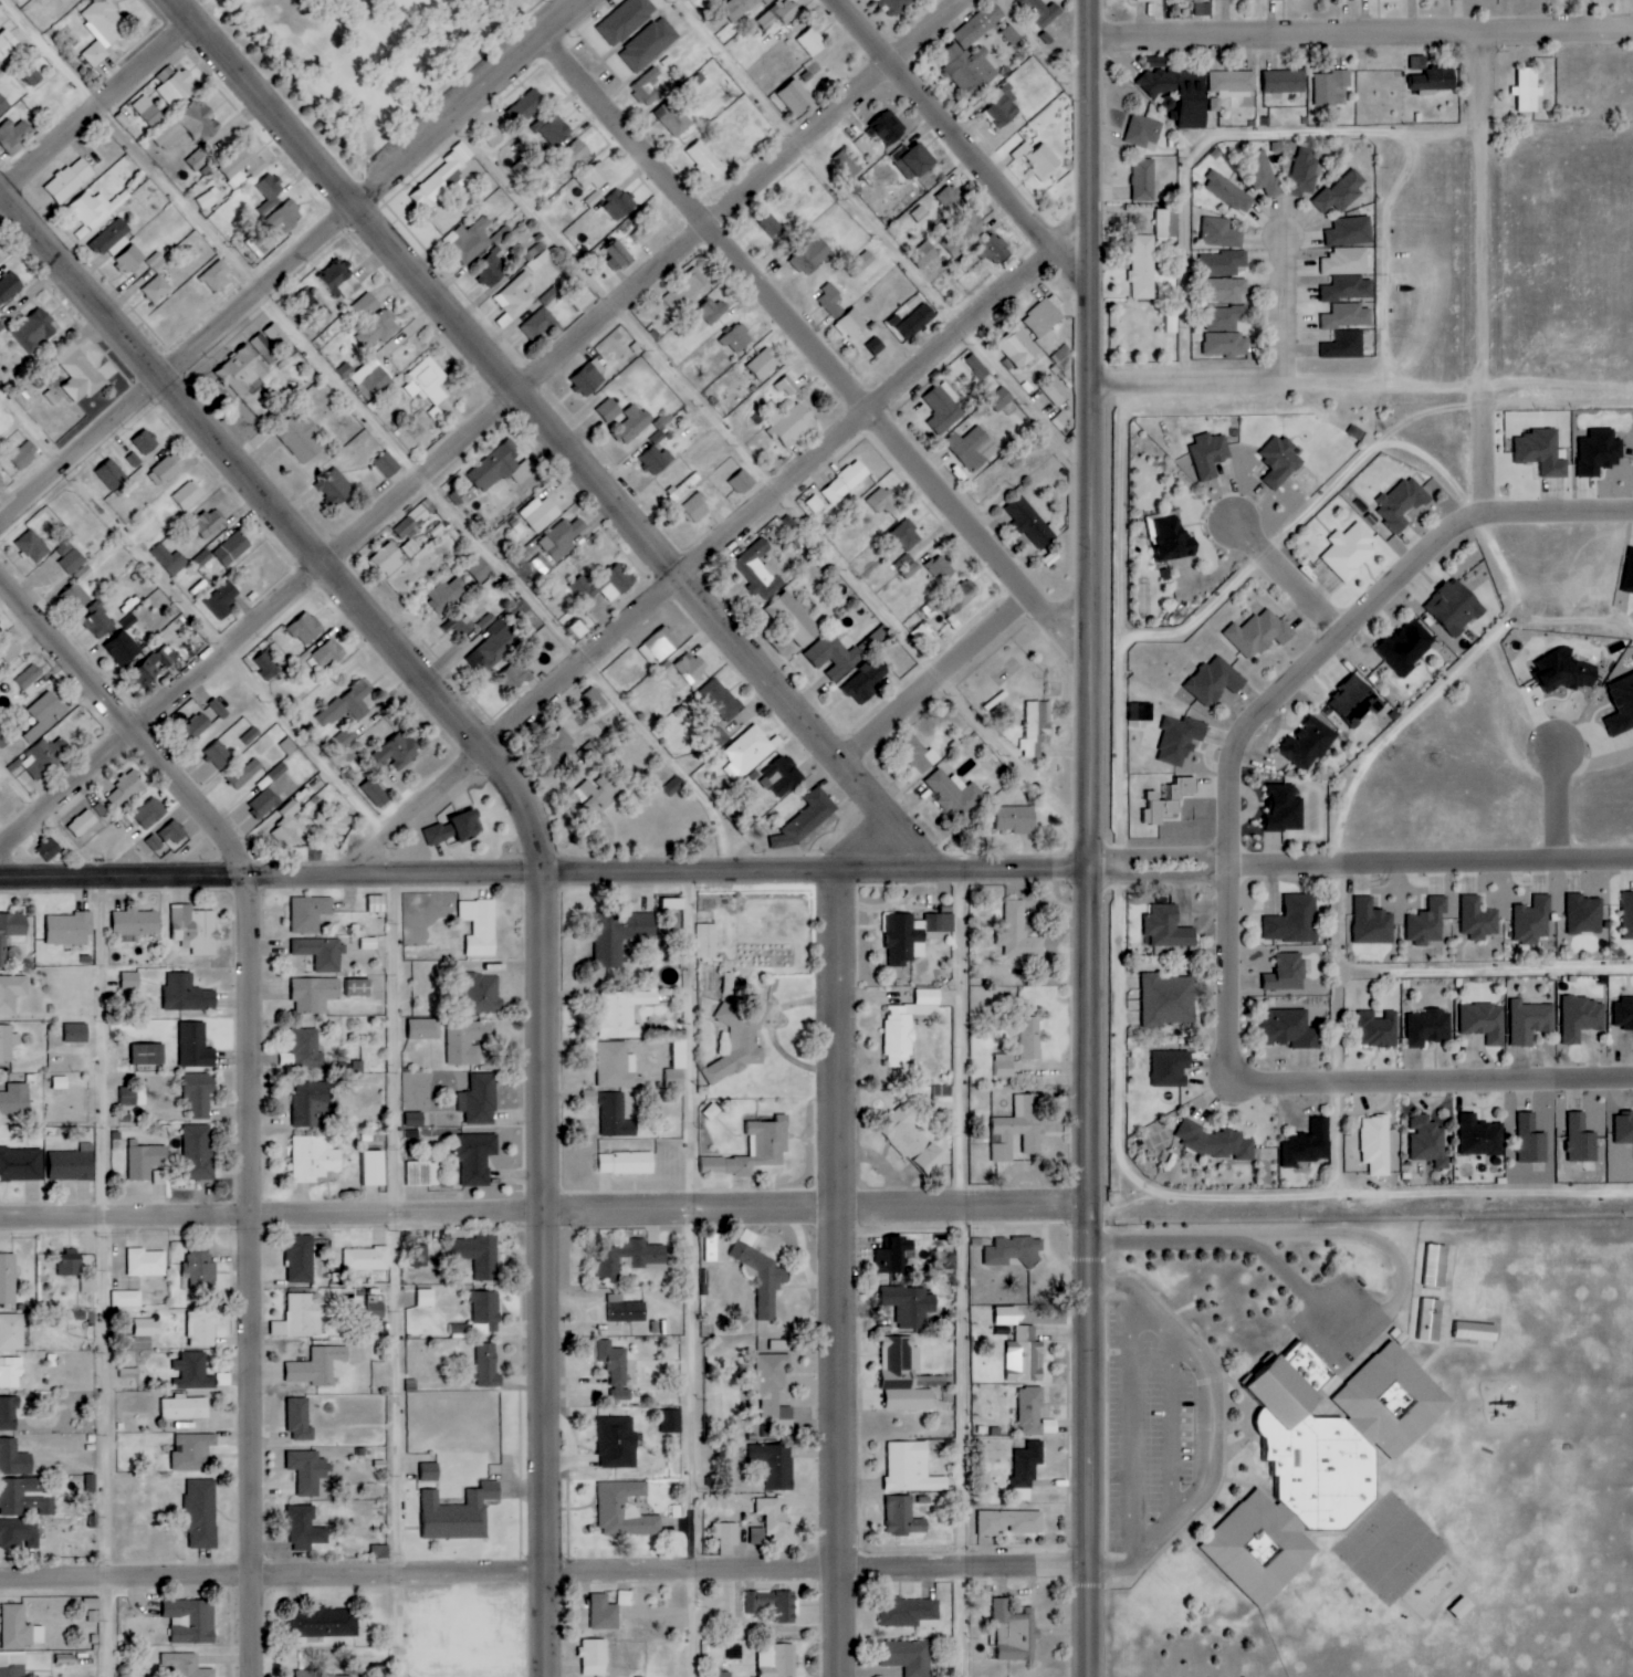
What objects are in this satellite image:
building: (690, 0)
building: (1150, 0)
building: (767, 1)
building: (896, 6)
building: (1203, 7)
building: (739, 8)
building: (786, 10)
building: (1044, 11)
building: (767, 19)
building: (626, 20)
building: (980, 24)
building: (103, 29)
road: (1359, 31)
building: (812, 42)
building: (7, 43)
building: (649, 44)
road: (1044, 52)
building: (1419, 62)
building: (1159, 63)
building: (970, 67)
building: (35, 70)
road: (1476, 78)
building: (1435, 80)
building: (1285, 81)
building: (1330, 85)
building: (649, 87)
building: (177, 88)
building: (1527, 88)
building: (1180, 94)
building: (796, 97)
road: (94, 103)
building: (530, 104)
building: (3, 105)
building: (1004, 105)
building: (146, 114)
building: (674, 117)
building: (190, 125)
building: (889, 127)
building: (555, 130)
building: (1143, 130)
building: (15, 135)
road: (1218, 135)
building: (494, 136)
road: (959, 142)
building: (574, 154)
building: (199, 159)
building: (1040, 159)
building: (706, 160)
building: (850, 160)
building: (915, 161)
building: (243, 166)
building: (1302, 172)
building: (1262, 174)
building: (596, 176)
building: (441, 178)
building: (1144, 179)
building: (70, 180)
building: (269, 191)
road: (378, 191)
building: (1228, 192)
building: (1340, 193)
building: (951, 199)
building: (621, 205)
building: (92, 211)
building: (284, 218)
building: (1168, 222)
building: (772, 224)
building: (1350, 231)
road: (882, 233)
building: (1222, 233)
building: (501, 235)
building: (964, 237)
building: (113, 238)
building: (471, 242)
building: (266, 243)
building: (994, 249)
road: (1384, 253)
building: (618, 255)
building: (536, 256)
building: (813, 256)
building: (928, 256)
road: (1480, 256)
building: (0, 258)
building: (130, 259)
building: (1346, 262)
building: (861, 263)
building: (1223, 263)
building: (1143, 266)
building: (492, 273)
building: (218, 275)
building: (341, 280)
road: (642, 285)
building: (9, 287)
building: (157, 289)
building: (1349, 289)
building: (1226, 290)
building: (685, 291)
building: (516, 295)
building: (549, 295)
building: (582, 298)
building: (831, 301)
building: (365, 305)
road: (1283, 305)
building: (314, 306)
building: (712, 310)
building: (1045, 316)
building: (1348, 316)
building: (1224, 317)
building: (917, 321)
building: (537, 323)
building: (854, 323)
building: (1, 327)
building: (35, 329)
building: (378, 329)
building: (278, 337)
building: (737, 338)
road: (820, 344)
building: (1226, 345)
building: (1346, 345)
building: (876, 346)
building: (1019, 348)
building: (263, 352)
building: (764, 364)
building: (977, 366)
building: (243, 373)
building: (81, 375)
building: (589, 378)
road: (1185, 378)
building: (371, 379)
building: (428, 381)
road: (1457, 386)
building: (1055, 391)
building: (1001, 399)
building: (943, 407)
building: (609, 410)
building: (3, 422)
road: (556, 423)
building: (631, 425)
building: (792, 425)
road: (383, 428)
road: (1088, 433)
building: (301, 438)
building: (145, 441)
building: (973, 448)
road: (1483, 449)
building: (1542, 452)
building: (1599, 452)
building: (25, 454)
road: (81, 454)
building: (1211, 454)
building: (657, 460)
building: (1279, 461)
building: (388, 464)
building: (500, 469)
building: (166, 470)
building: (114, 478)
road: (775, 479)
building: (742, 482)
building: (846, 482)
building: (2, 483)
building: (335, 488)
road: (788, 488)
building: (187, 495)
building: (881, 502)
building: (1402, 502)
building: (814, 504)
building: (697, 507)
building: (540, 513)
building: (415, 520)
building: (209, 524)
building: (1030, 524)
building: (903, 537)
building: (563, 538)
building: (1177, 539)
building: (33, 546)
building: (1350, 552)
building: (169, 559)
building: (73, 562)
building: (541, 564)
building: (908, 566)
building: (941, 568)
building: (757, 569)
building: (481, 570)
road: (1284, 573)
building: (1629, 576)
building: (605, 585)
road: (1227, 586)
building: (447, 595)
building: (76, 598)
building: (222, 599)
building: (953, 604)
building: (1455, 607)
road: (1361, 609)
road: (196, 610)
building: (98, 620)
building: (795, 620)
building: (129, 621)
building: (486, 621)
building: (0, 628)
building: (306, 629)
building: (579, 629)
building: (1259, 633)
building: (924, 635)
building: (660, 644)
building: (495, 646)
building: (1409, 646)
building: (9, 649)
building: (123, 649)
building: (326, 656)
building: (835, 657)
building: (155, 665)
building: (266, 665)
building: (691, 668)
building: (666, 669)
building: (1567, 670)
building: (29, 677)
building: (514, 677)
road: (943, 677)
building: (866, 681)
building: (1215, 681)
road: (1441, 684)
building: (721, 700)
building: (1355, 701)
building: (348, 704)
building: (1622, 705)
building: (218, 709)
road: (163, 710)
building: (44, 715)
building: (1200, 716)
building: (197, 725)
building: (1036, 729)
building: (251, 736)
building: (346, 736)
building: (712, 737)
building: (1180, 740)
building: (1310, 741)
building: (289, 746)
building: (557, 748)
building: (401, 751)
building: (589, 751)
building: (747, 751)
building: (219, 755)
building: (44, 757)
building: (918, 759)
building: (244, 774)
building: (779, 778)
building: (674, 786)
building: (125, 789)
building: (598, 790)
building: (375, 793)
building: (955, 794)
building: (1168, 800)
building: (263, 804)
road: (1553, 805)
building: (1285, 809)
building: (149, 814)
road: (418, 815)
building: (1017, 819)
building: (344, 820)
building: (805, 820)
building: (83, 824)
building: (467, 825)
building: (440, 834)
building: (285, 835)
building: (167, 836)
road: (532, 840)
building: (50, 849)
road: (1159, 853)
road: (1430, 860)
road: (815, 870)
road: (1226, 871)
road: (269, 874)
road: (1159, 880)
building: (376, 903)
building: (672, 903)
building: (310, 913)
building: (1584, 914)
building: (1627, 916)
building: (1478, 919)
building: (1295, 921)
building: (1533, 921)
building: (941, 922)
building: (135, 923)
building: (1373, 923)
building: (1428, 923)
building: (12, 924)
building: (480, 926)
building: (1169, 927)
building: (70, 929)
building: (195, 929)
building: (1018, 932)
building: (620, 934)
building: (903, 940)
building: (706, 941)
building: (369, 943)
building: (3, 952)
building: (323, 953)
road: (1484, 967)
road: (1334, 971)
building: (1287, 973)
building: (130, 981)
building: (359, 987)
building: (12, 993)
building: (188, 994)
building: (315, 994)
building: (484, 994)
building: (1169, 999)
building: (622, 1013)
building: (1623, 1014)
building: (1581, 1018)
building: (1484, 1021)
building: (1530, 1021)
building: (908, 1026)
building: (1428, 1028)
building: (426, 1029)
road: (1227, 1029)
building: (1290, 1029)
building: (1380, 1029)
building: (77, 1033)
building: (1030, 1037)
building: (469, 1040)
building: (739, 1041)
building: (8, 1042)
building: (192, 1047)
building: (307, 1048)
building: (680, 1054)
building: (146, 1056)
building: (1005, 1065)
building: (617, 1067)
building: (1172, 1068)
road: (261, 1078)
road: (1484, 1079)
building: (61, 1082)
building: (674, 1082)
building: (199, 1094)
building: (133, 1097)
building: (943, 1097)
building: (15, 1099)
building: (480, 1100)
building: (312, 1104)
building: (616, 1117)
building: (415, 1119)
building: (1020, 1128)
building: (1624, 1128)
road: (1336, 1135)
building: (1480, 1136)
building: (1581, 1140)
building: (914, 1141)
building: (1213, 1141)
building: (1428, 1141)
building: (1531, 1141)
building: (1308, 1144)
building: (1376, 1144)
building: (754, 1150)
building: (199, 1152)
building: (478, 1157)
building: (314, 1159)
building: (146, 1160)
building: (627, 1163)
building: (21, 1164)
building: (73, 1164)
building: (374, 1167)
building: (422, 1173)
road: (1231, 1193)
road: (102, 1199)
road: (1122, 1204)
road: (814, 1209)
road: (270, 1214)
road: (1253, 1240)
building: (908, 1244)
building: (715, 1248)
building: (1014, 1250)
building: (419, 1255)
building: (480, 1255)
building: (889, 1256)
building: (366, 1258)
building: (630, 1258)
building: (301, 1259)
building: (147, 1262)
building: (71, 1264)
building: (1437, 1265)
building: (200, 1269)
road: (1088, 1271)
road: (852, 1272)
road: (704, 1274)
road: (971, 1274)
road: (405, 1275)
building: (763, 1277)
building: (7, 1279)
building: (426, 1298)
building: (126, 1299)
building: (910, 1306)
building: (488, 1310)
building: (627, 1310)
building: (306, 1316)
building: (1009, 1316)
building: (377, 1318)
building: (1432, 1319)
building: (145, 1327)
building: (202, 1329)
building: (1476, 1330)
building: (12, 1332)
building: (781, 1344)
building: (1026, 1355)
building: (320, 1366)
building: (488, 1366)
building: (616, 1369)
building: (193, 1371)
building: (11, 1372)
building: (904, 1376)
building: (775, 1392)
building: (185, 1408)
building: (9, 1414)
building: (300, 1419)
building: (671, 1422)
road: (1219, 1430)
building: (618, 1443)
building: (192, 1451)
building: (14, 1458)
building: (1321, 1460)
building: (776, 1465)
building: (911, 1469)
building: (1027, 1469)
building: (308, 1471)
building: (430, 1471)
building: (24, 1497)
building: (626, 1510)
building: (201, 1512)
building: (460, 1513)
building: (903, 1517)
building: (776, 1521)
building: (1011, 1522)
building: (305, 1529)
building: (19, 1533)
building: (729, 1533)
building: (758, 1535)
building: (380, 1552)
road: (815, 1573)
road: (271, 1578)
building: (771, 1605)
building: (92, 1611)
building: (909, 1612)
building: (604, 1613)
building: (191, 1621)
building: (328, 1622)
building: (20, 1628)
building: (1015, 1633)
building: (735, 1653)
building: (594, 1657)
building: (908, 1657)
building: (778, 1660)
building: (12, 1664)
building: (184, 1666)
building: (721, 1674)
building: (323, 1675)

